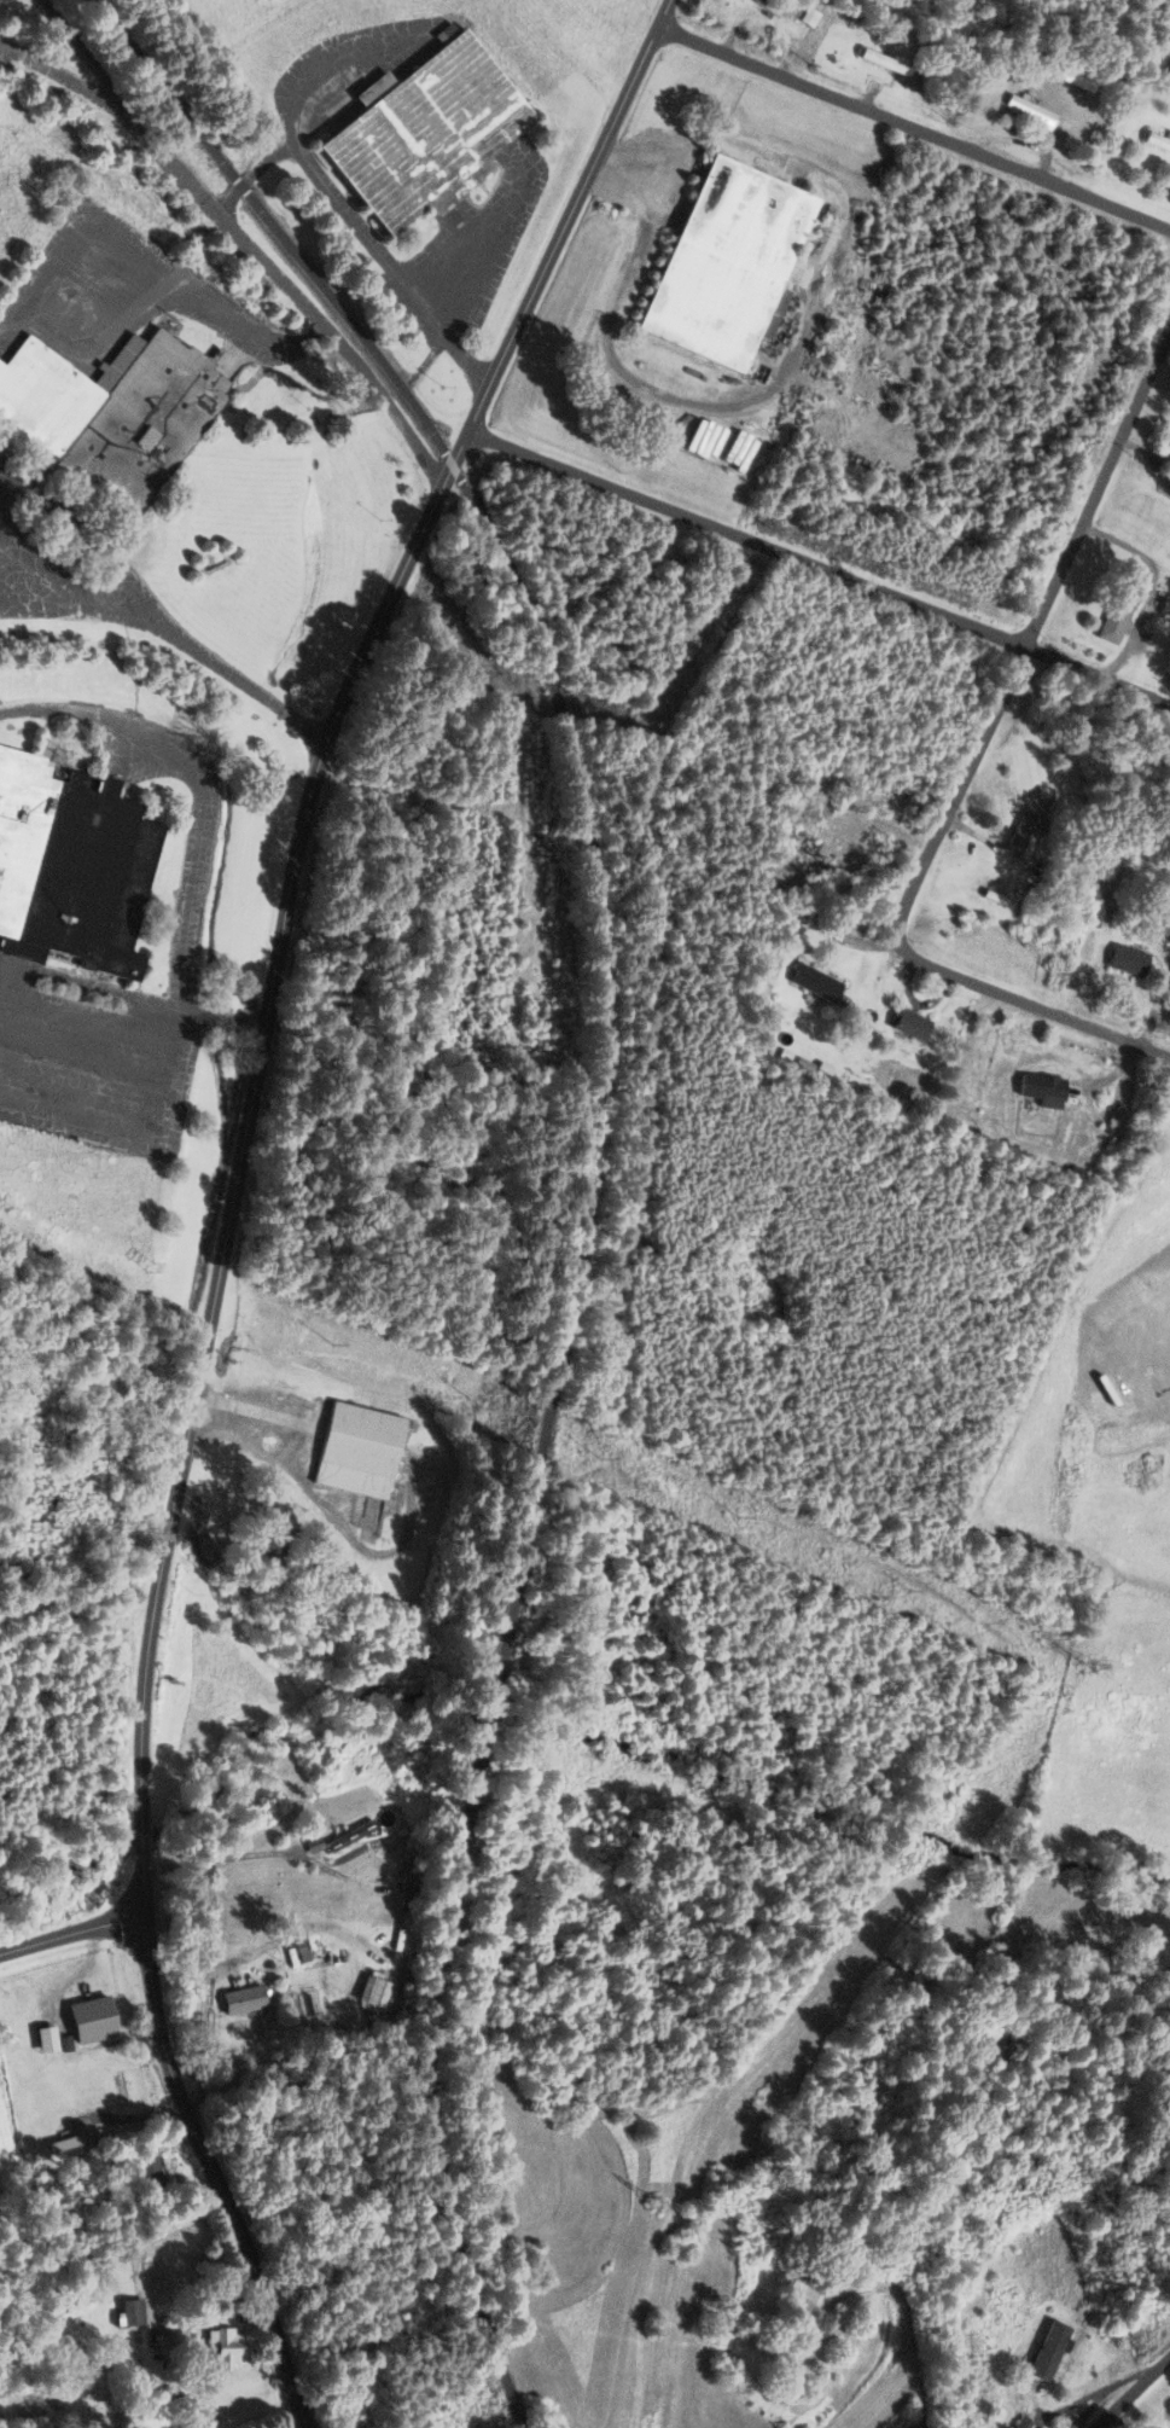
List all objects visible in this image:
building: (759, 0)
building: (875, 60)
building: (1024, 109)
building: (433, 124)
road: (913, 133)
building: (1154, 141)
road: (252, 178)
road: (337, 204)
road: (279, 230)
road: (561, 232)
road: (485, 244)
road: (144, 251)
building: (739, 261)
road: (291, 286)
road: (612, 356)
building: (111, 419)
building: (1168, 449)
road: (1099, 486)
road: (819, 567)
road: (1153, 587)
road: (677, 588)
building: (1119, 605)
road: (175, 637)
road: (197, 785)
road: (961, 796)
building: (1021, 831)
building: (75, 847)
building: (1166, 927)
building: (1124, 960)
building: (811, 982)
road: (1032, 994)
road: (5, 998)
road: (132, 998)
building: (907, 1026)
road: (258, 1065)
road: (606, 1069)
building: (1038, 1087)
road: (139, 1123)
road: (631, 1221)
road: (255, 1412)
building: (363, 1448)
road: (490, 1701)
road: (141, 1759)
road: (142, 1839)
road: (72, 1933)
building: (297, 1947)
building: (239, 1999)
building: (87, 2019)
road: (431, 2073)
building: (117, 2087)
building: (71, 2142)
road: (203, 2145)
building: (146, 2174)
building: (801, 2287)
building: (129, 2311)
road: (948, 2312)
building: (220, 2347)
road: (1125, 2380)
building: (1014, 2421)

